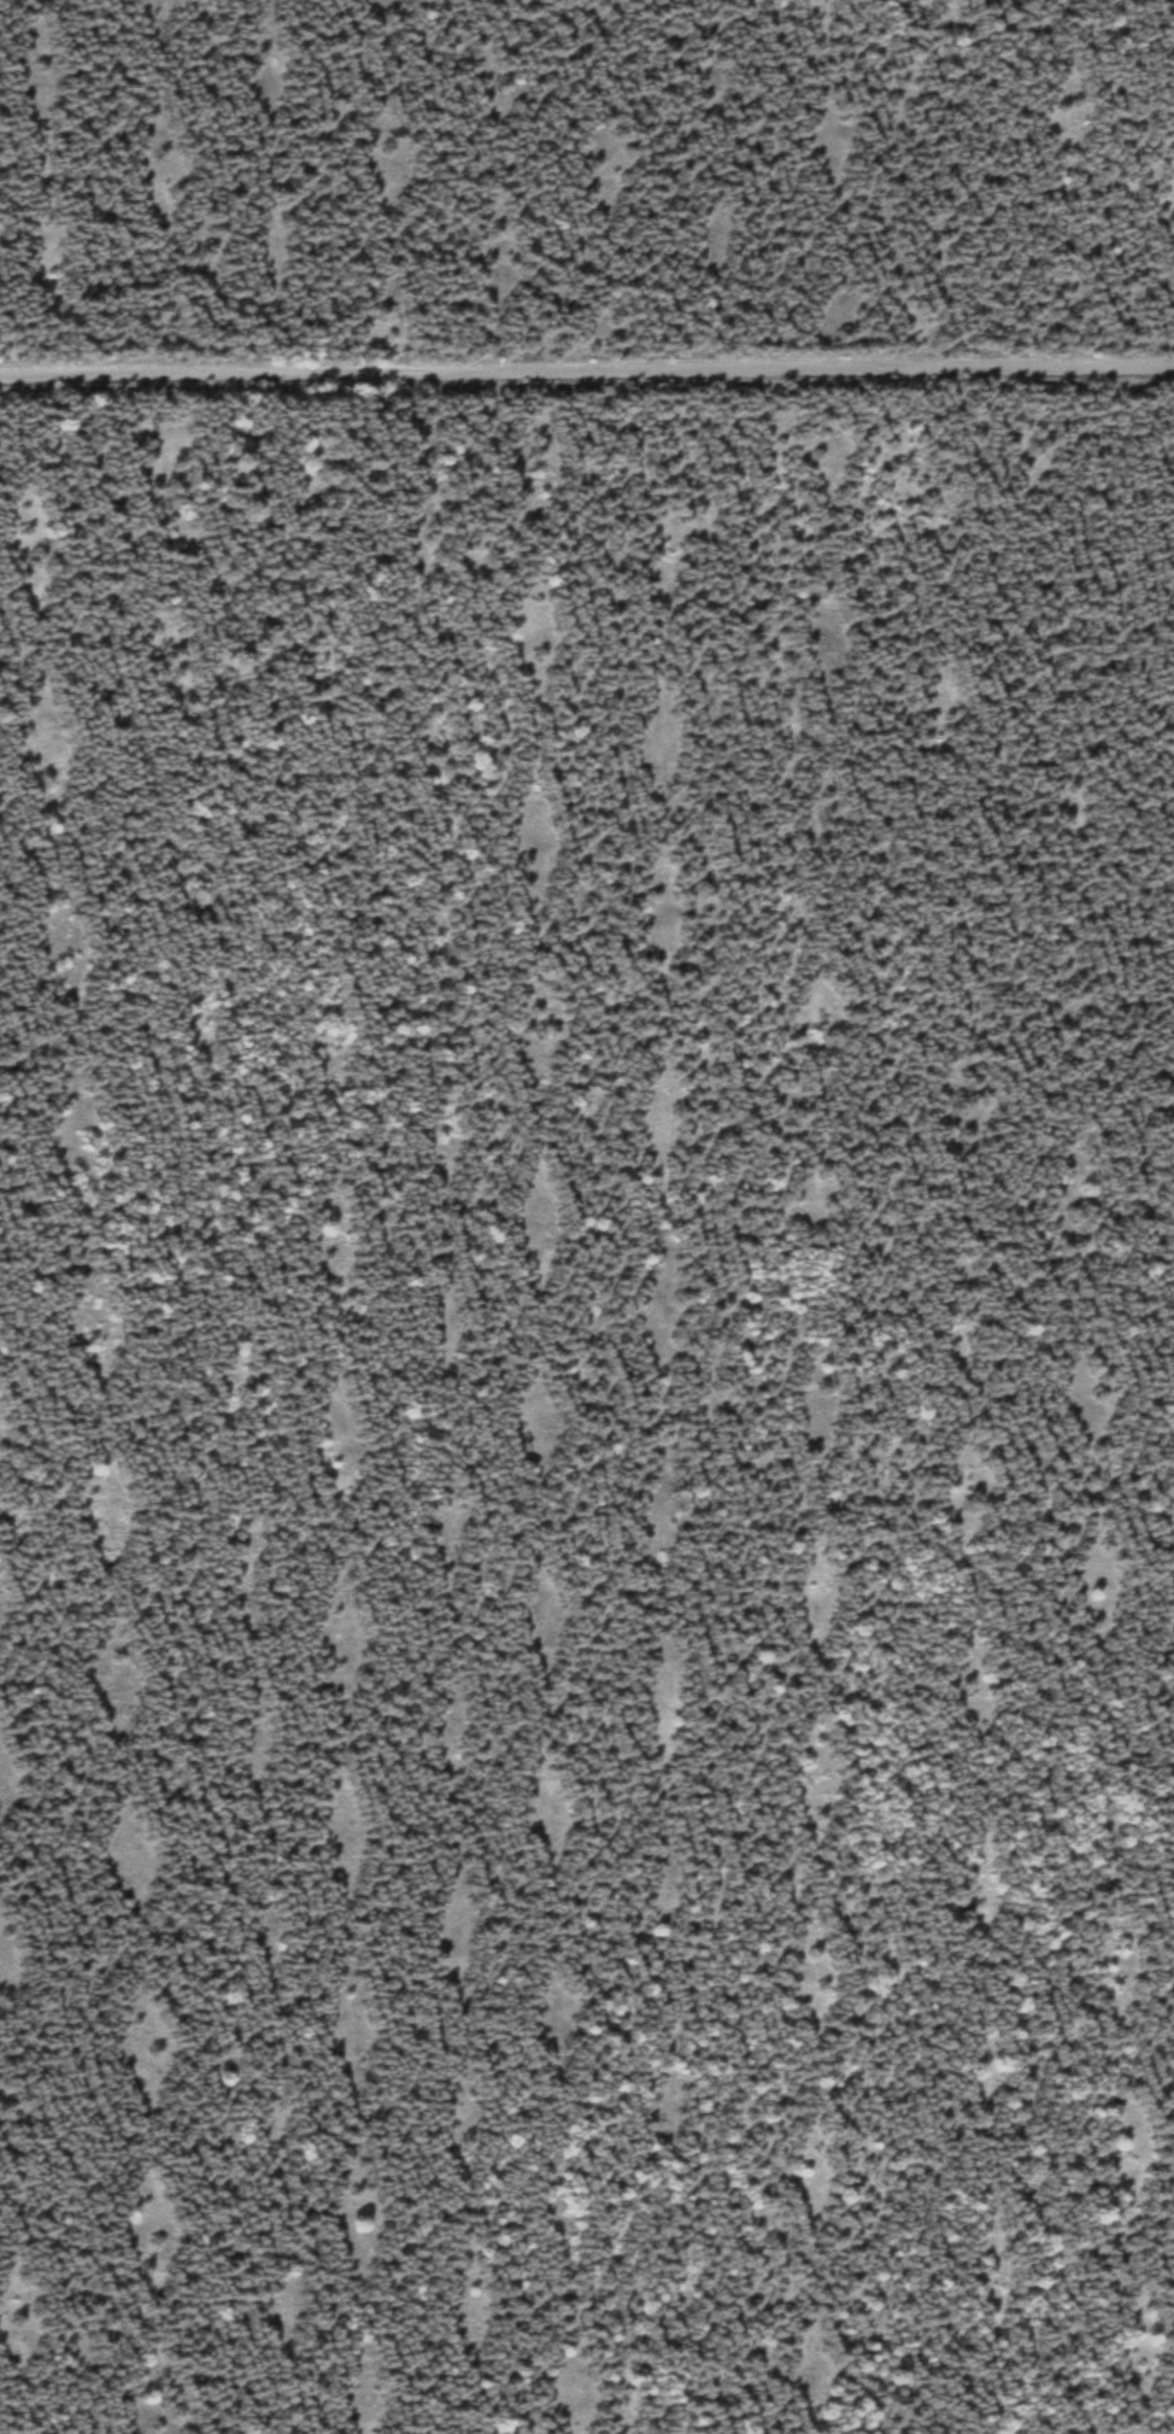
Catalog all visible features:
road: (587, 375)

